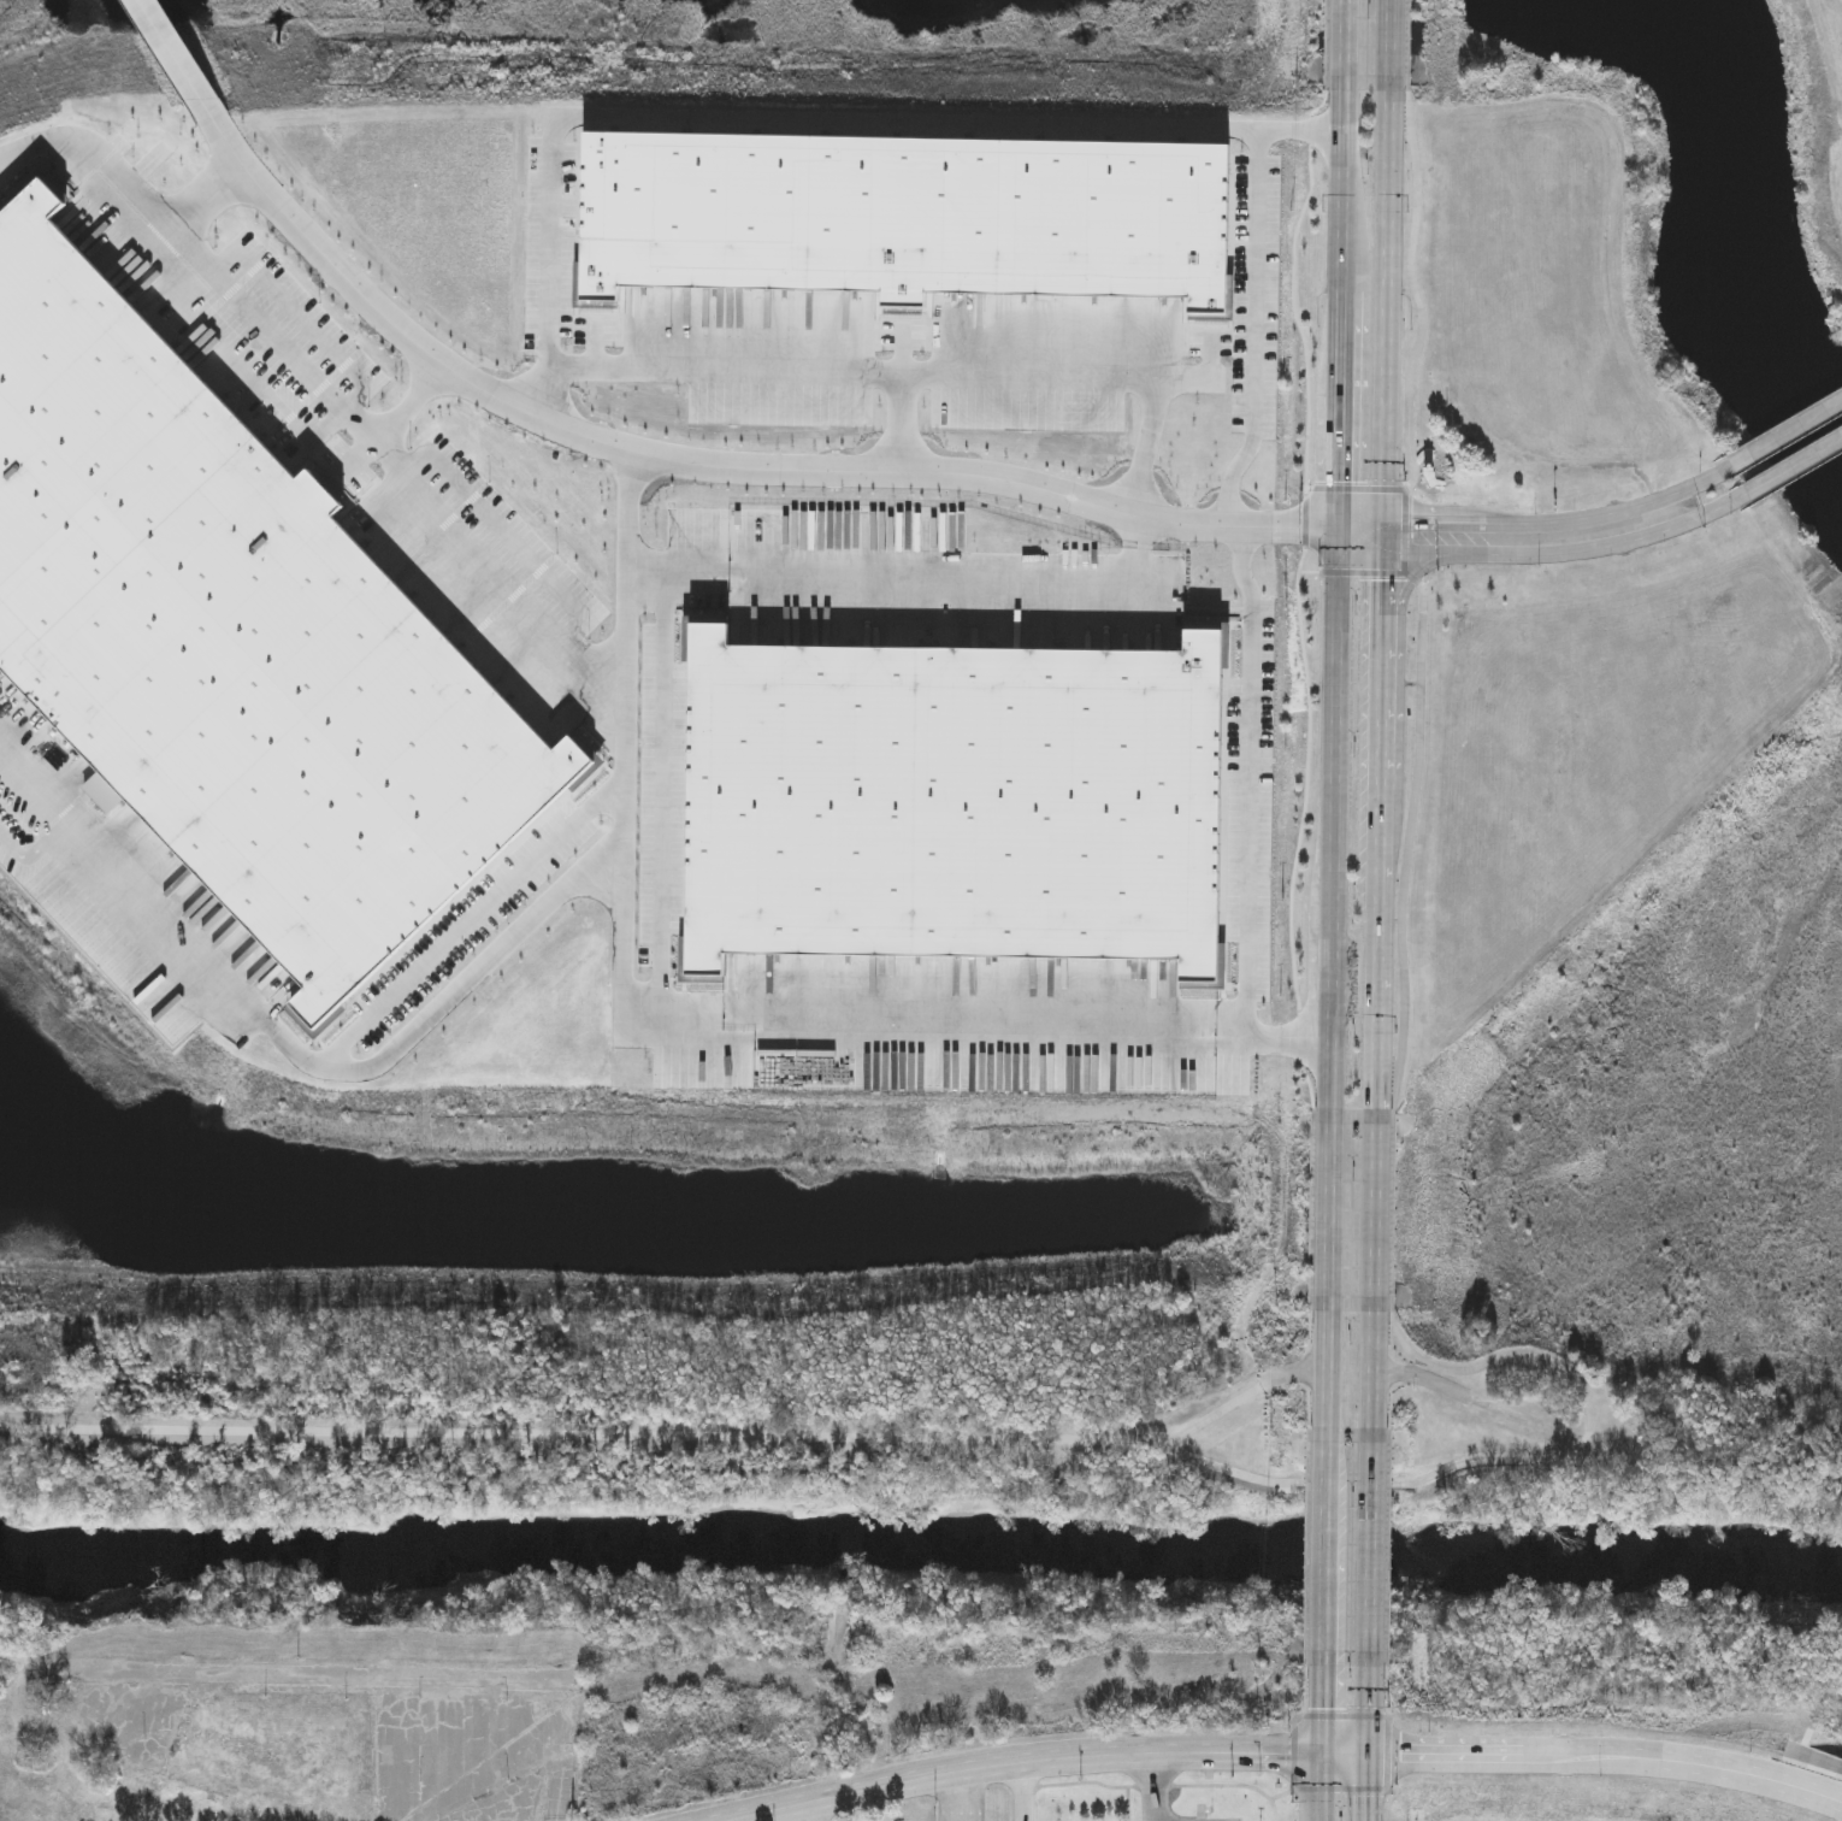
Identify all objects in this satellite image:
road: (1345, 45)
road: (1389, 45)
road: (1328, 46)
road: (1410, 46)
road: (179, 57)
road: (1344, 191)
road: (132, 194)
road: (1386, 305)
road: (896, 373)
road: (413, 395)
road: (1340, 406)
road: (901, 423)
road: (1776, 441)
road: (681, 452)
road: (1793, 471)
road: (1353, 490)
road: (450, 512)
traffic signals: (1340, 521)
road: (1362, 521)
traffic signals: (1383, 521)
road: (1549, 523)
road: (1305, 524)
road: (1339, 537)
road: (1383, 537)
road: (1305, 540)
road: (1145, 544)
traffic signals: (1339, 554)
road: (1362, 554)
traffic signals: (1385, 554)
road: (1569, 556)
road: (630, 572)
road: (1353, 573)
road: (1424, 593)
road: (1299, 597)
road: (1404, 659)
road: (1383, 672)
road: (1334, 831)
road: (1380, 949)
road: (1248, 1002)
road: (282, 1033)
road: (1313, 1209)
road: (1329, 1209)
road: (1376, 1209)
road: (1394, 1212)
road: (1327, 1368)
road: (1374, 1368)
road: (1589, 1425)
road: (671, 1440)
road: (1351, 1475)
road: (1335, 1544)
river: (922, 1546)
road: (1381, 1551)
road: (482, 1664)
road: (1326, 1708)
road: (1368, 1715)
traffic signals: (1327, 1754)
road: (1345, 1754)
traffic signals: (1363, 1755)
building: (253, 1756)
road: (1605, 1757)
road: (1034, 1764)
road: (1326, 1787)
road: (1363, 1787)
road: (1155, 1790)
road: (1028, 1793)
road: (962, 1798)
road: (816, 1813)

